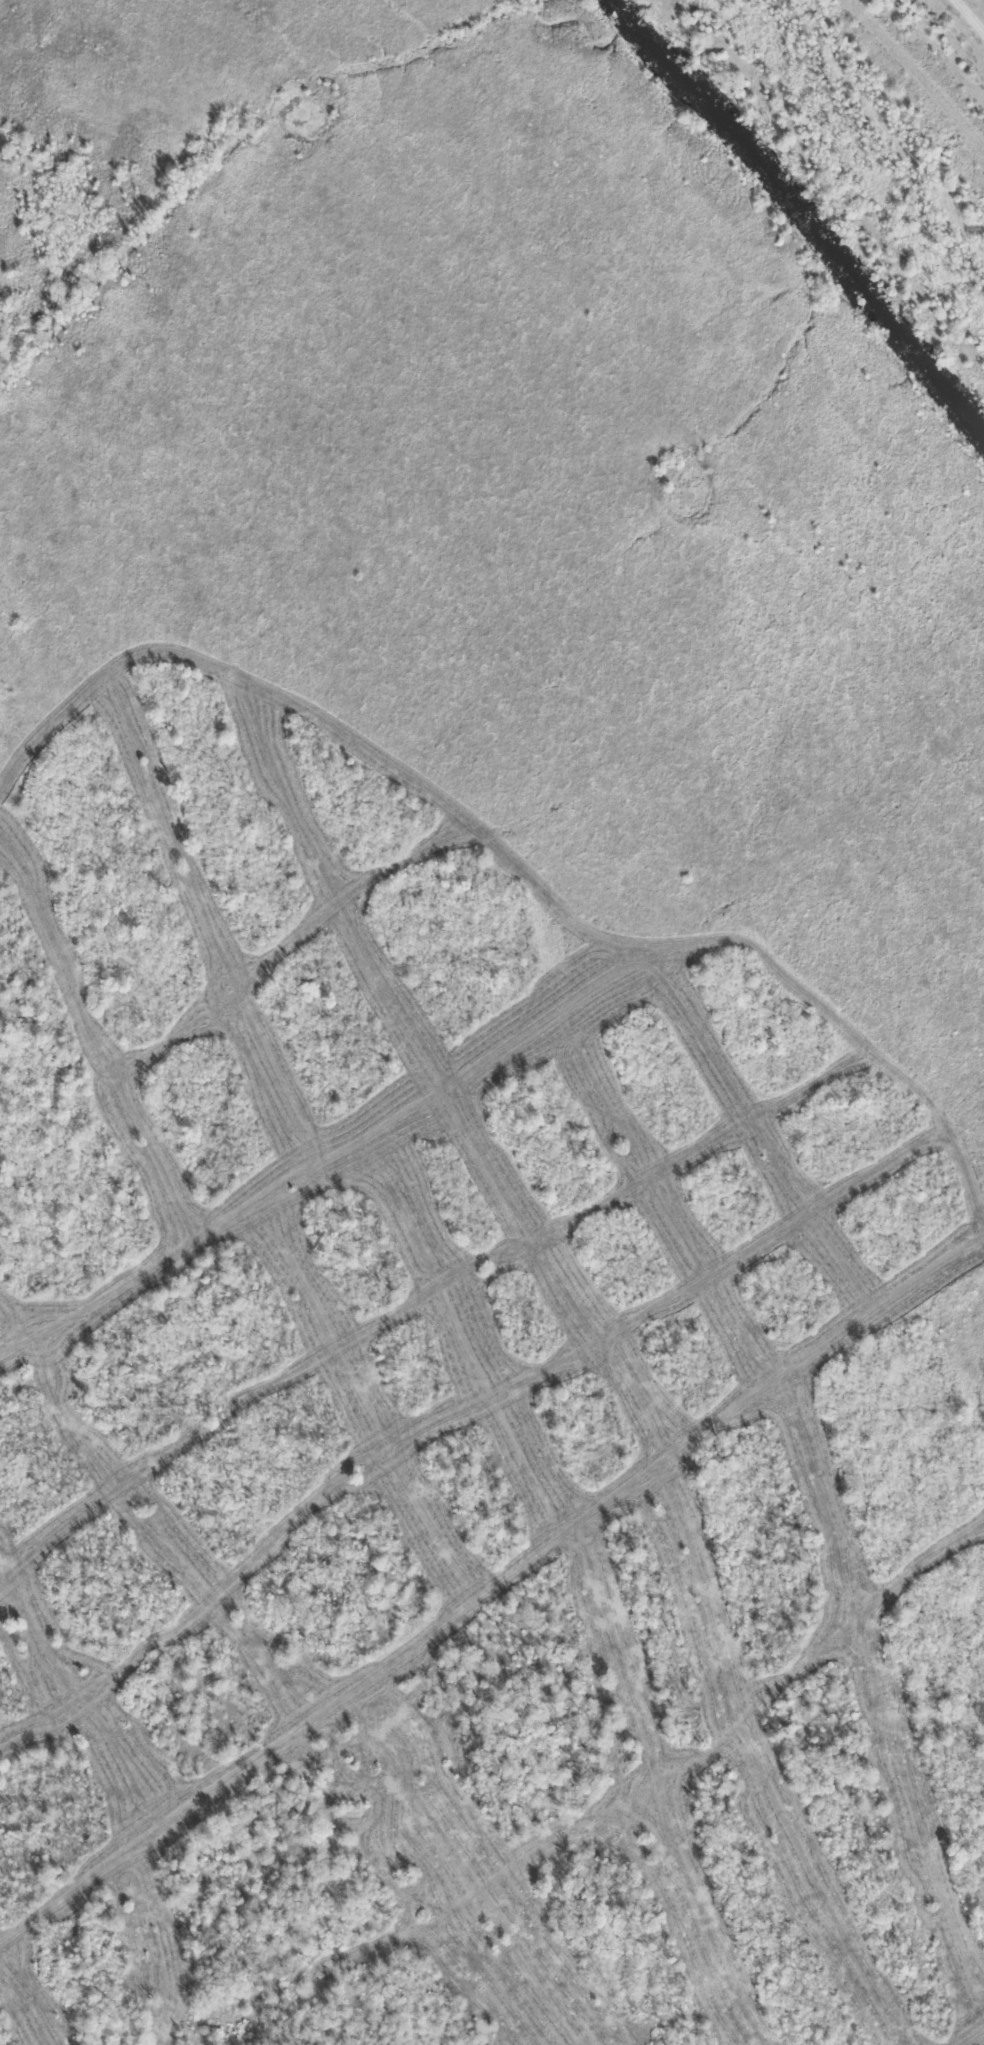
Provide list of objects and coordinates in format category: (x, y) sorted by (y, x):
road: (969, 16)
road: (305, 1178)

